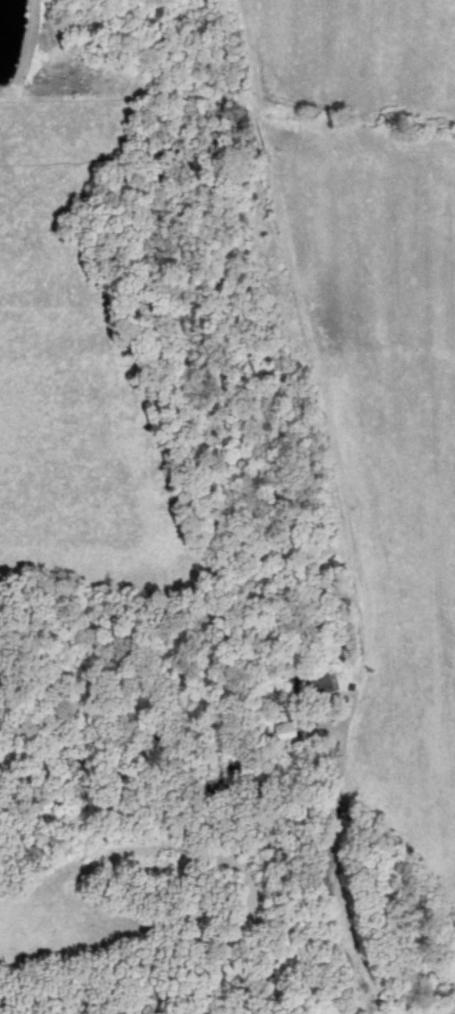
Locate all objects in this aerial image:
road: (318, 372)

